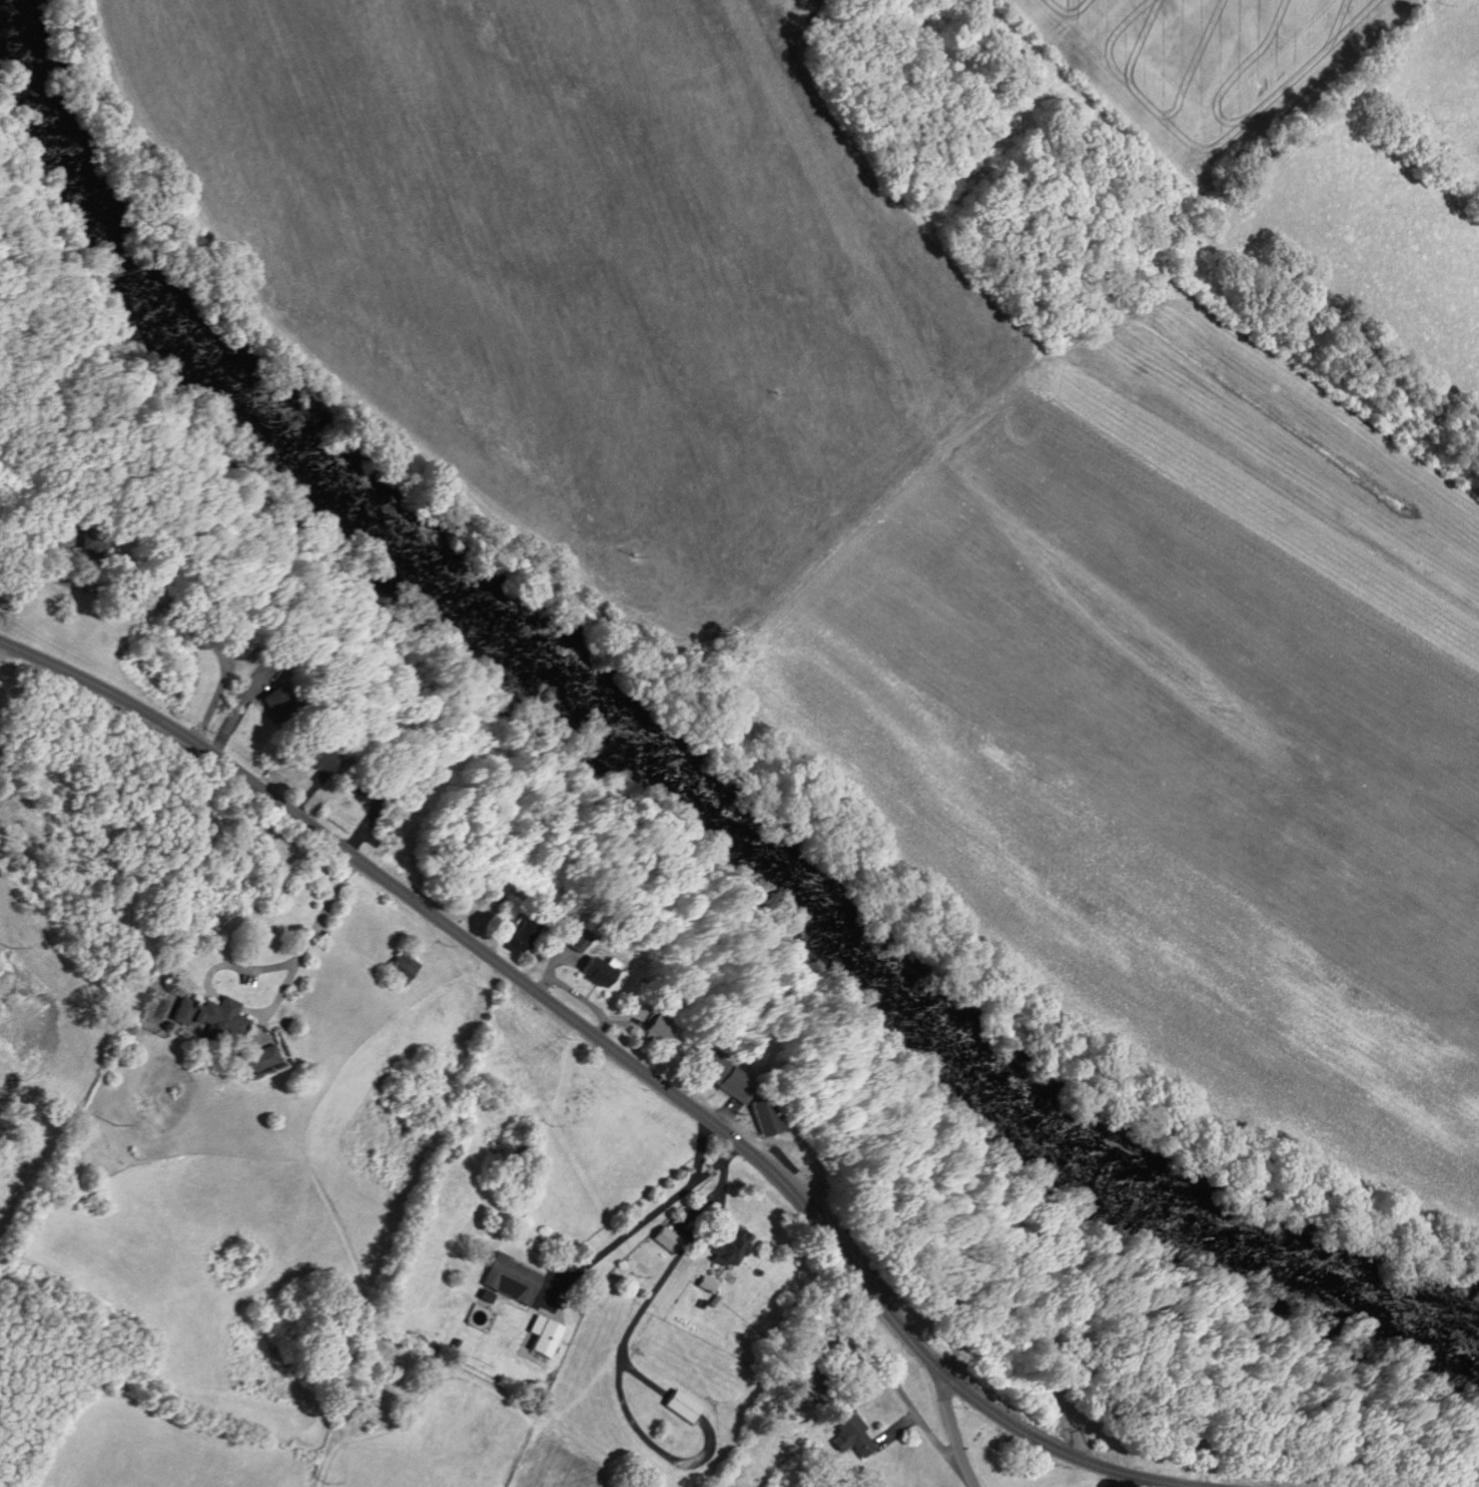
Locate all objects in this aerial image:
building: (90, 540)
road: (0, 644)
river: (660, 767)
building: (522, 932)
road: (310, 934)
building: (403, 966)
building: (602, 972)
building: (213, 1013)
road: (611, 1048)
building: (263, 1057)
building: (729, 1076)
building: (766, 1114)
road: (698, 1146)
road: (718, 1162)
road: (625, 1234)
building: (669, 1237)
building: (733, 1244)
road: (664, 1275)
building: (511, 1279)
building: (708, 1282)
building: (546, 1333)
building: (685, 1404)
building: (853, 1435)
road: (955, 1435)
road: (1128, 1482)

